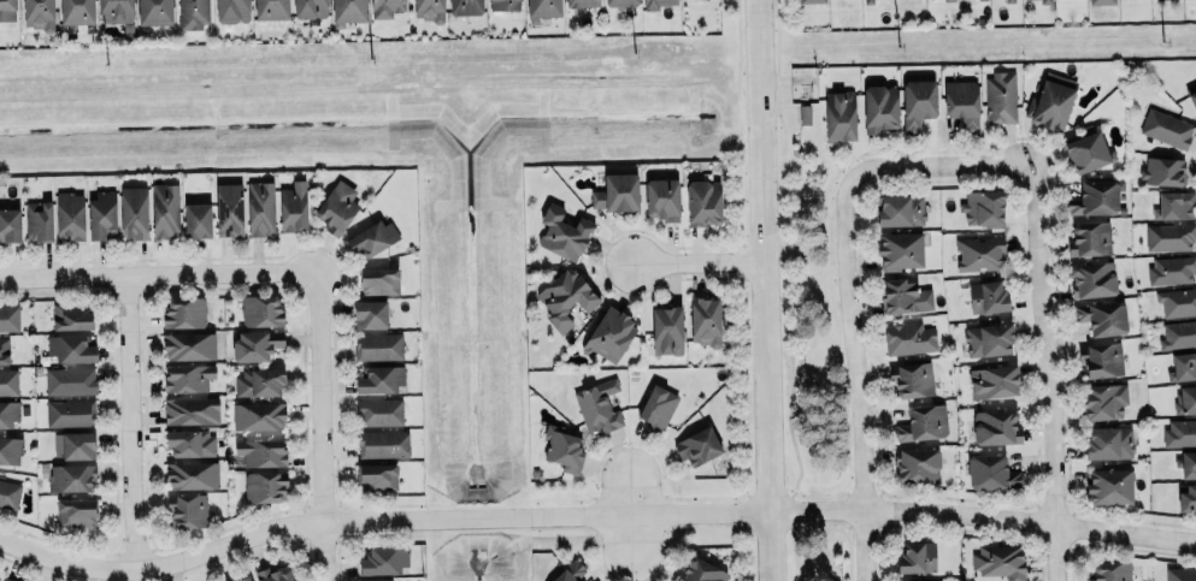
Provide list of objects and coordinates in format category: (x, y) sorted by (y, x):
building: (948, 0)
building: (1011, 0)
building: (1195, 0)
building: (811, 1)
building: (867, 1)
building: (1045, 1)
building: (1102, 1)
building: (581, 2)
building: (624, 4)
building: (656, 4)
building: (503, 5)
building: (465, 6)
building: (385, 7)
building: (308, 8)
building: (542, 8)
building: (7, 10)
building: (231, 10)
building: (270, 10)
building: (429, 10)
building: (77, 11)
building: (154, 11)
building: (348, 11)
building: (39, 13)
building: (118, 13)
building: (192, 13)
building: (1001, 95)
building: (1192, 99)
building: (918, 100)
building: (961, 101)
building: (1053, 102)
building: (879, 107)
building: (839, 115)
building: (1166, 128)
building: (1088, 152)
road: (941, 170)
building: (1162, 171)
building: (618, 191)
building: (661, 197)
building: (1094, 197)
building: (702, 202)
building: (1176, 204)
building: (291, 206)
building: (979, 206)
building: (336, 207)
building: (259, 208)
building: (165, 209)
building: (229, 209)
building: (900, 209)
building: (134, 212)
building: (101, 213)
building: (70, 215)
building: (37, 220)
building: (196, 220)
building: (10, 224)
building: (561, 233)
building: (1168, 236)
building: (1089, 237)
building: (372, 238)
building: (899, 249)
building: (980, 253)
road: (702, 261)
building: (1171, 268)
road: (159, 274)
building: (1092, 279)
building: (378, 280)
road: (768, 290)
building: (905, 296)
building: (986, 296)
building: (566, 297)
building: (1176, 301)
building: (261, 310)
building: (184, 312)
building: (369, 313)
building: (71, 315)
building: (1102, 316)
building: (8, 318)
building: (703, 320)
building: (667, 331)
building: (1178, 333)
building: (609, 334)
building: (909, 338)
building: (988, 338)
building: (255, 344)
building: (188, 345)
building: (378, 345)
building: (70, 348)
building: (4, 350)
building: (1101, 358)
building: (1182, 366)
road: (1050, 374)
road: (859, 375)
building: (188, 377)
building: (379, 378)
building: (912, 379)
building: (70, 380)
building: (992, 380)
building: (7, 381)
building: (258, 381)
building: (1185, 399)
building: (1102, 401)
building: (599, 405)
building: (656, 407)
building: (192, 410)
building: (378, 410)
building: (69, 411)
building: (8, 413)
building: (259, 415)
road: (131, 422)
building: (924, 422)
road: (322, 426)
building: (995, 426)
building: (1179, 432)
building: (190, 441)
building: (382, 443)
building: (1107, 443)
building: (73, 444)
building: (697, 445)
building: (564, 449)
building: (10, 450)
building: (260, 451)
building: (915, 464)
building: (1188, 464)
building: (991, 472)
building: (192, 474)
building: (377, 475)
building: (70, 478)
building: (264, 486)
building: (1108, 486)
road: (629, 491)
building: (8, 493)
building: (1188, 497)
building: (187, 509)
building: (75, 511)
road: (593, 514)
road: (630, 534)
building: (915, 557)
building: (384, 559)
building: (998, 561)
building: (1112, 570)
building: (570, 571)
building: (699, 571)
building: (271, 574)
building: (1180, 574)
building: (8, 579)
building: (242, 579)
building: (378, 580)
building: (929, 580)

